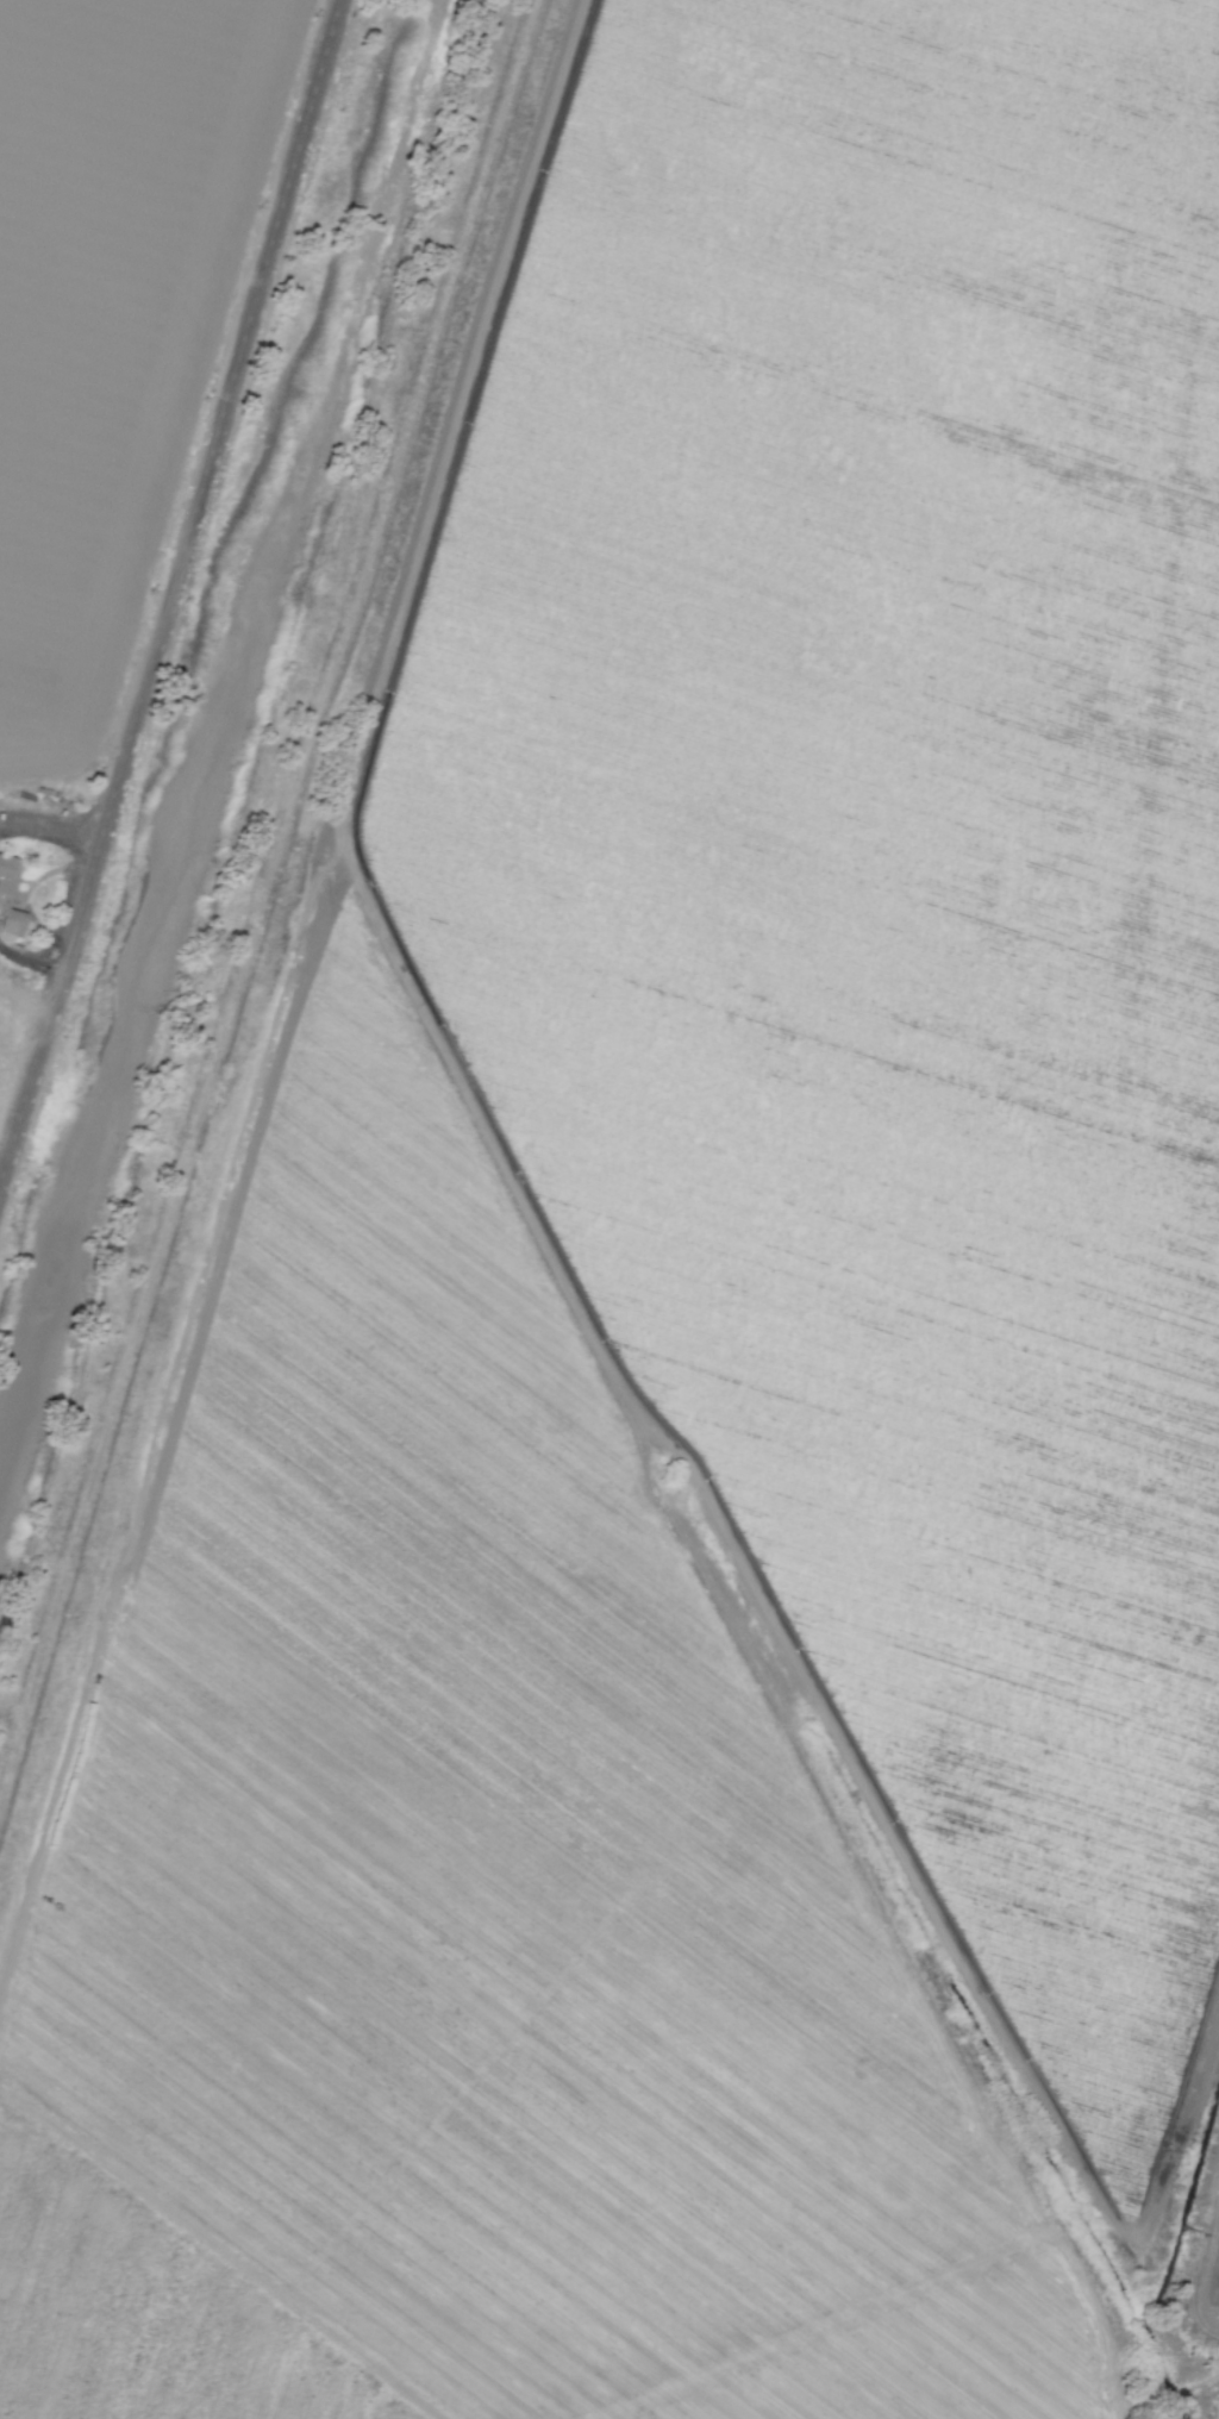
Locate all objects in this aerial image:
crop: (102, 361)
road: (171, 599)
road: (50, 832)
building: (7, 874)
road: (264, 904)
road: (31, 963)
crop: (706, 1334)

